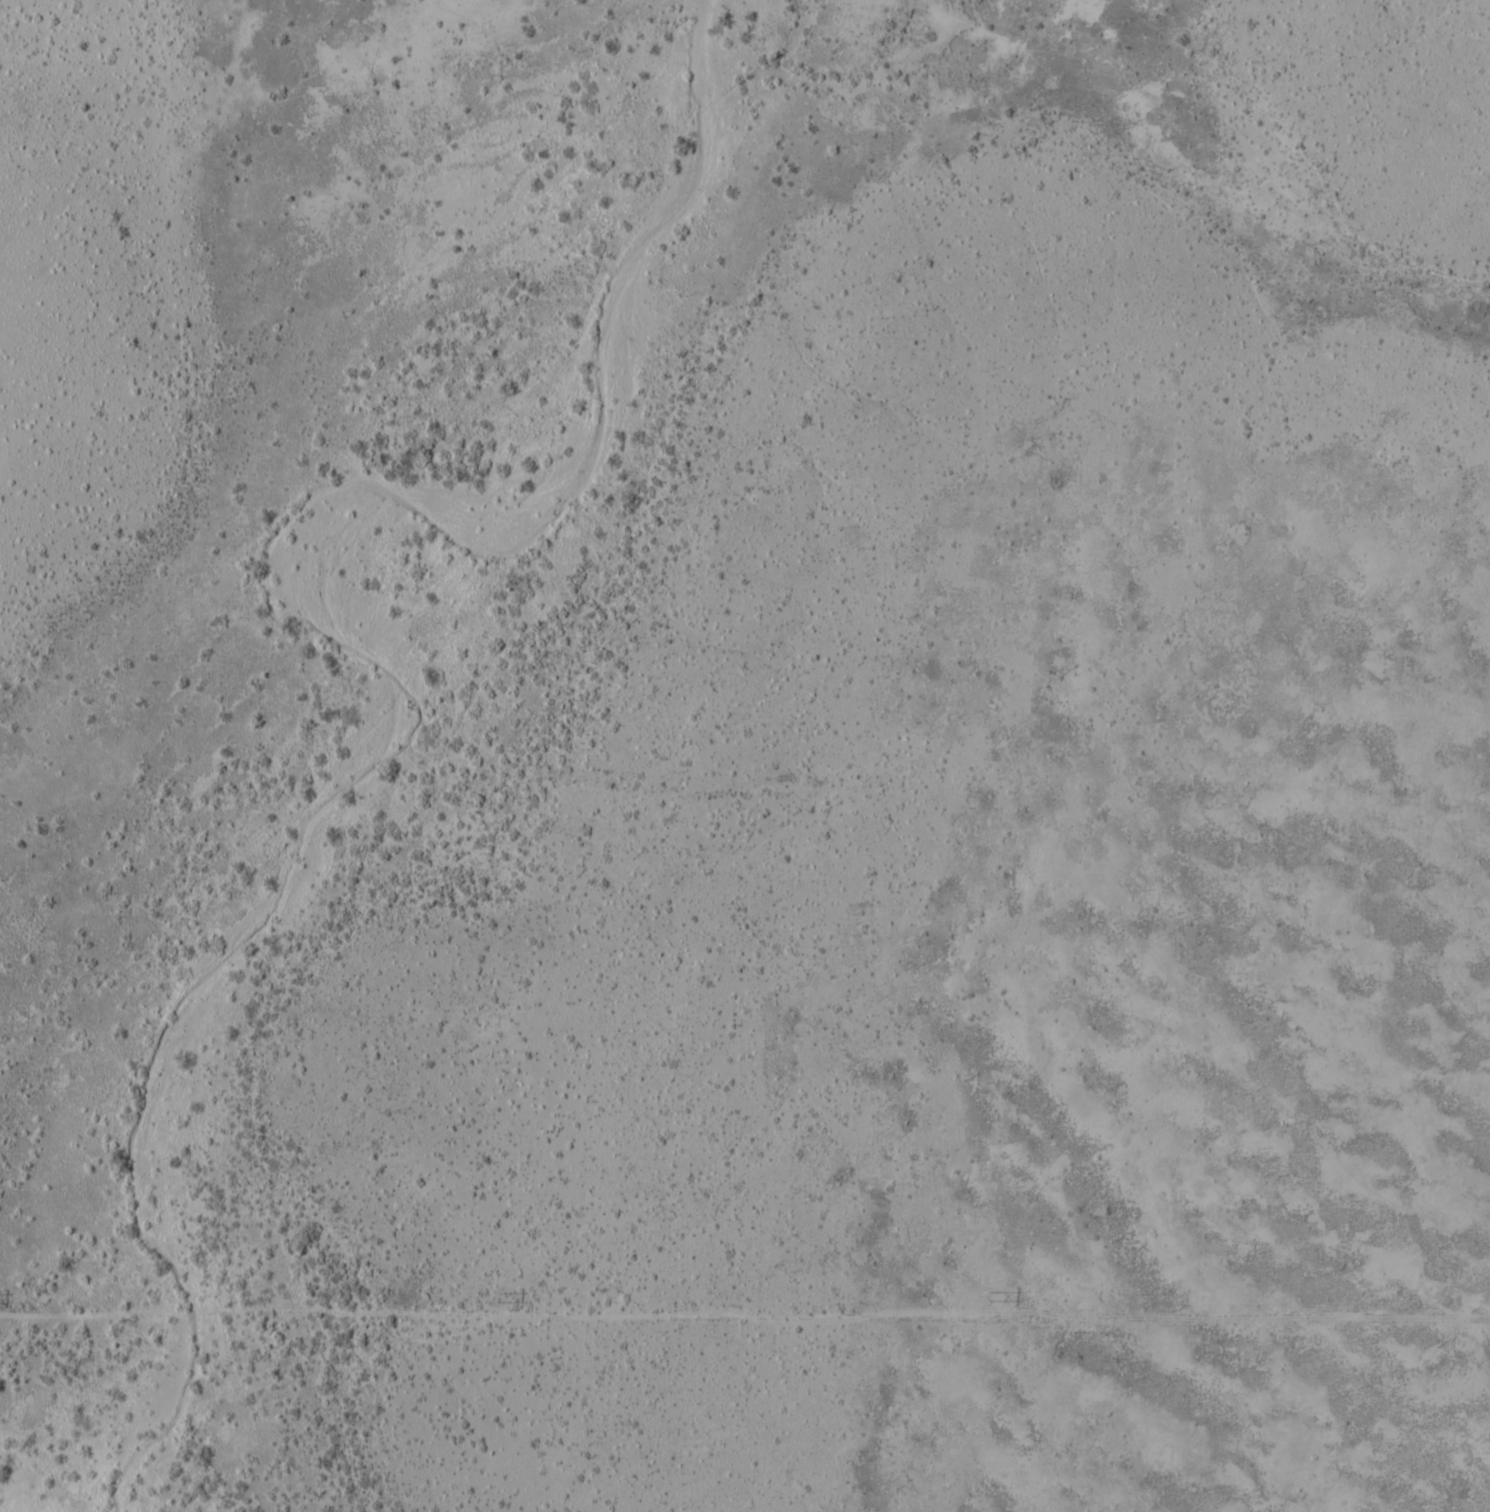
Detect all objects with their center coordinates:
power tower: (492, 1297)
power tower: (980, 1298)
road: (745, 1324)

